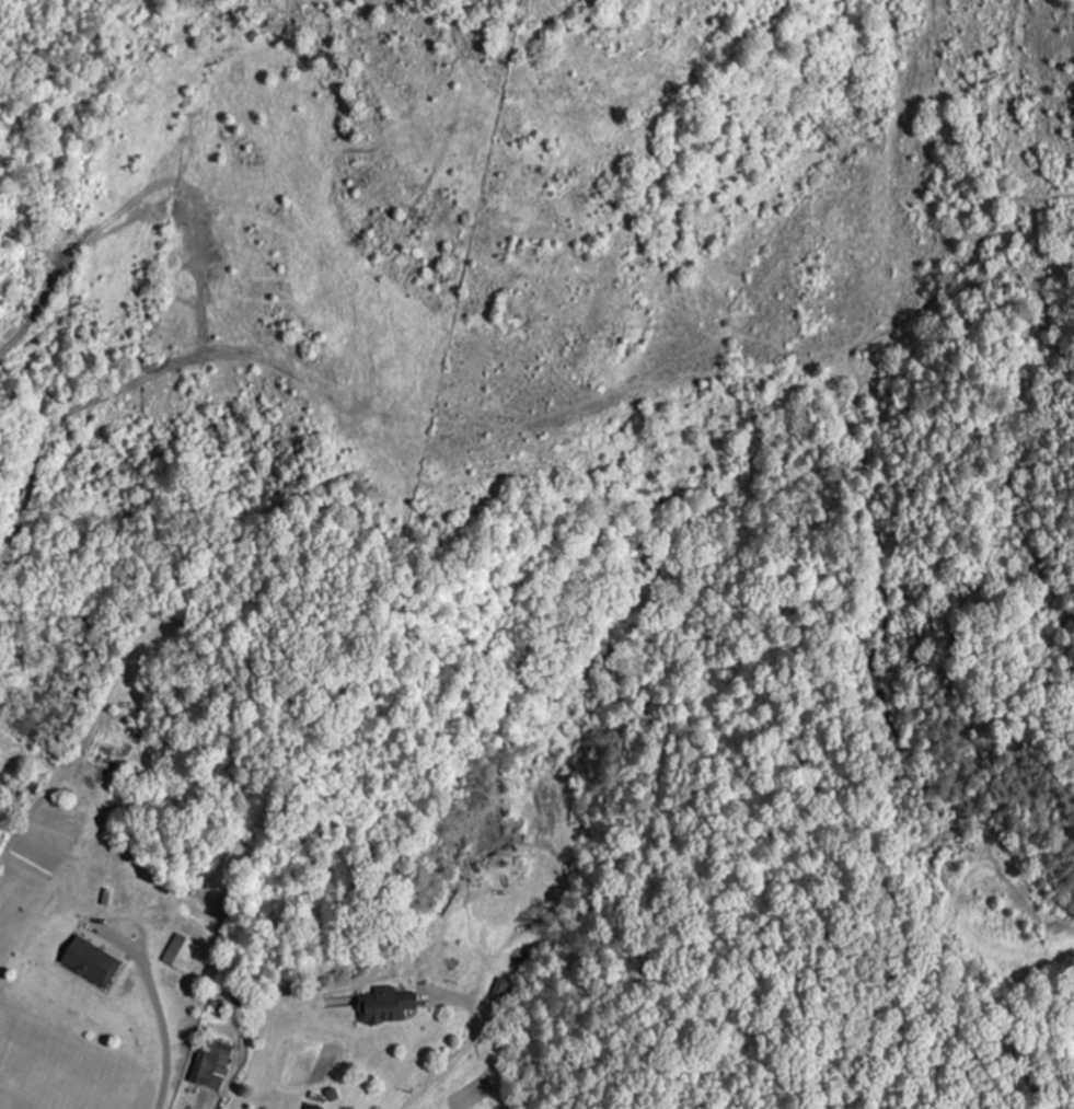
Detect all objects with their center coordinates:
building: (180, 952)
building: (92, 963)
building: (504, 989)
building: (386, 1007)
road: (457, 1060)
building: (212, 1065)
building: (310, 1107)

